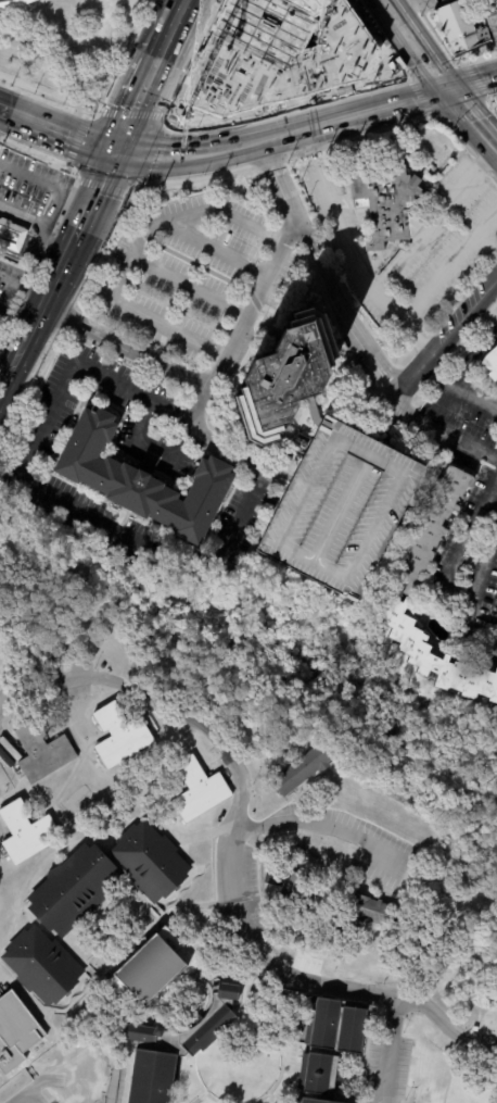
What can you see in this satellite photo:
building: (1, 0)
parking lot: (1, 0)
road: (383, 2)
road: (13, 3)
road: (188, 5)
road: (214, 11)
building: (490, 16)
road: (372, 23)
road: (369, 24)
road: (42, 25)
building: (460, 27)
road: (174, 36)
road: (415, 48)
park: (67, 49)
road: (124, 51)
building: (281, 51)
road: (74, 54)
road: (391, 55)
road: (476, 58)
road: (398, 66)
road: (429, 66)
railway: (445, 67)
road: (417, 68)
road: (402, 75)
road: (476, 79)
road: (473, 84)
road: (351, 87)
road: (411, 87)
road: (357, 88)
traffic signals: (449, 90)
road: (38, 91)
road: (84, 97)
road: (417, 97)
road: (286, 102)
road: (142, 103)
road: (489, 104)
road: (170, 109)
road: (365, 112)
road: (50, 113)
road: (91, 113)
road: (130, 113)
road: (167, 113)
road: (466, 113)
road: (152, 116)
road: (473, 116)
road: (438, 120)
road: (171, 122)
road: (171, 123)
road: (163, 135)
road: (47, 137)
road: (77, 138)
road: (262, 139)
road: (109, 145)
traffic signals: (123, 148)
road: (182, 151)
road: (158, 152)
building: (442, 155)
road: (73, 171)
road: (133, 184)
road: (100, 187)
road: (99, 192)
parking lot: (30, 198)
road: (54, 199)
building: (390, 202)
road: (192, 213)
road: (435, 217)
parking lot: (405, 226)
building: (12, 236)
building: (357, 238)
road: (47, 245)
road: (216, 247)
building: (364, 254)
road: (319, 274)
road: (23, 287)
road: (188, 287)
road: (377, 294)
road: (43, 302)
road: (13, 329)
parking lot: (165, 329)
road: (417, 340)
road: (127, 346)
road: (438, 351)
road: (222, 356)
road: (5, 363)
building: (489, 366)
road: (5, 376)
building: (286, 377)
road: (461, 391)
road: (375, 427)
road: (445, 433)
road: (154, 447)
building: (149, 461)
building: (142, 480)
road: (46, 491)
building: (337, 507)
parking lot: (337, 507)
parking lot: (464, 527)
building: (433, 529)
road: (475, 593)
building: (431, 655)
road: (129, 686)
building: (124, 740)
building: (8, 753)
building: (41, 756)
building: (303, 773)
road: (68, 777)
building: (4, 785)
building: (194, 790)
road: (135, 793)
road: (59, 823)
road: (322, 826)
road: (208, 831)
road: (1, 832)
building: (27, 832)
road: (72, 842)
road: (178, 842)
building: (297, 856)
building: (148, 857)
building: (313, 864)
building: (301, 883)
building: (359, 885)
building: (74, 894)
road: (152, 904)
building: (372, 912)
road: (250, 935)
building: (41, 961)
building: (149, 970)
building: (227, 991)
road: (398, 991)
road: (67, 1020)
road: (72, 1029)
building: (207, 1029)
building: (14, 1031)
building: (141, 1032)
building: (326, 1046)
road: (279, 1069)
road: (288, 1069)
building: (152, 1076)
road: (38, 1082)
road: (36, 1087)
road: (200, 1098)
road: (212, 1098)

